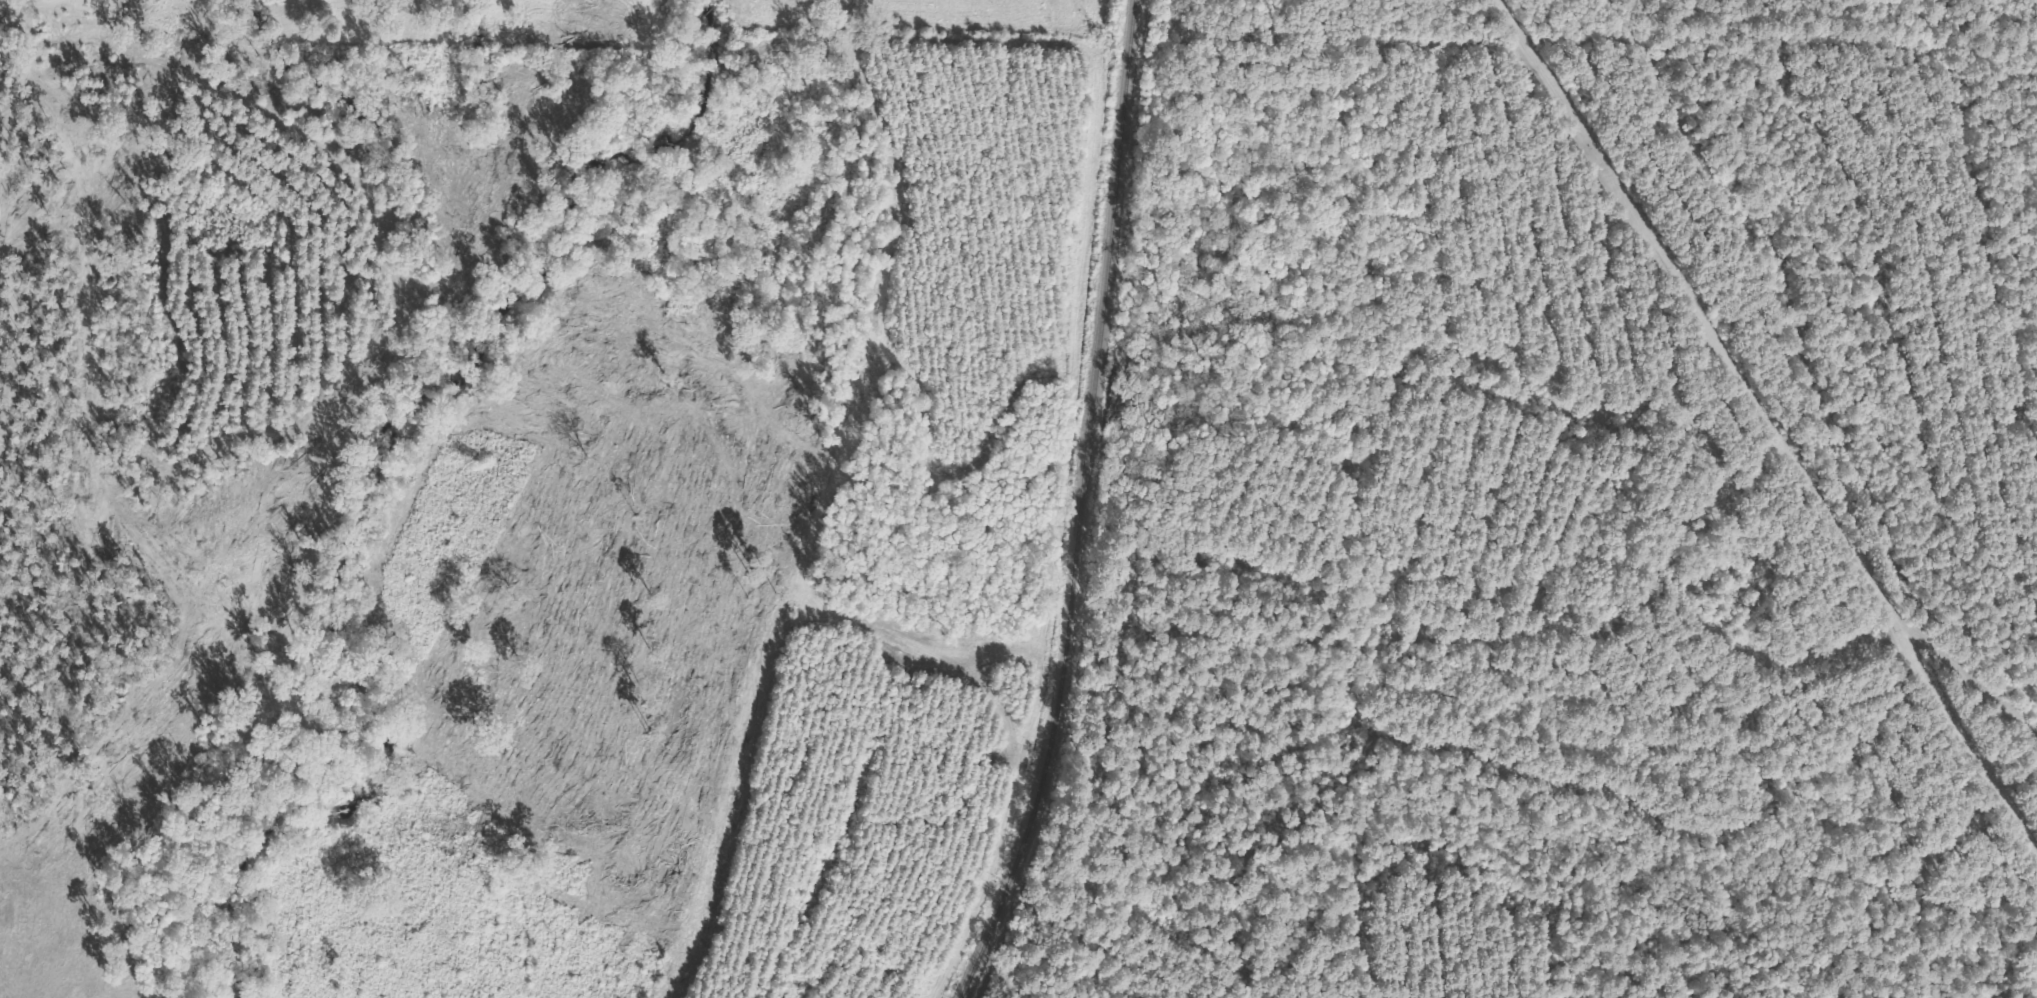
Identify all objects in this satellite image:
road: (1881, 184)
railway: (1079, 506)

